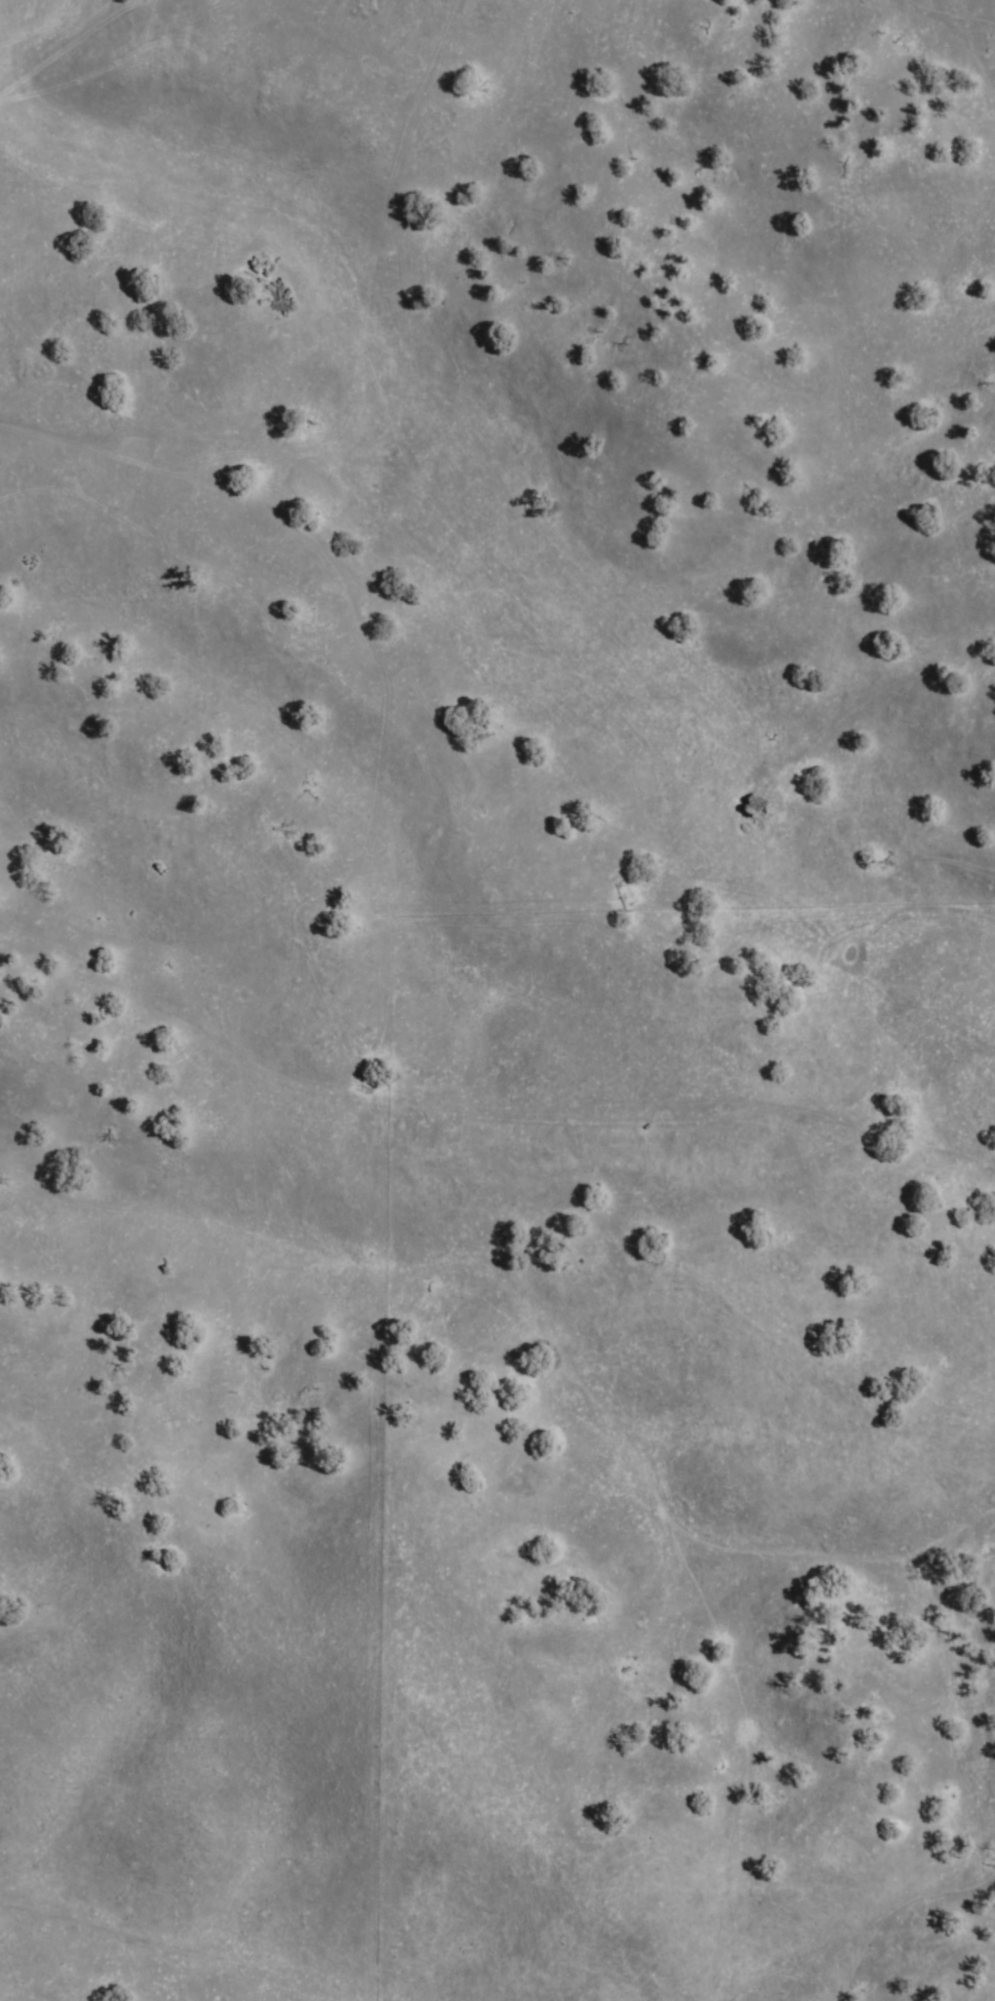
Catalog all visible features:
crop: (3, 4)
crop: (559, 636)

